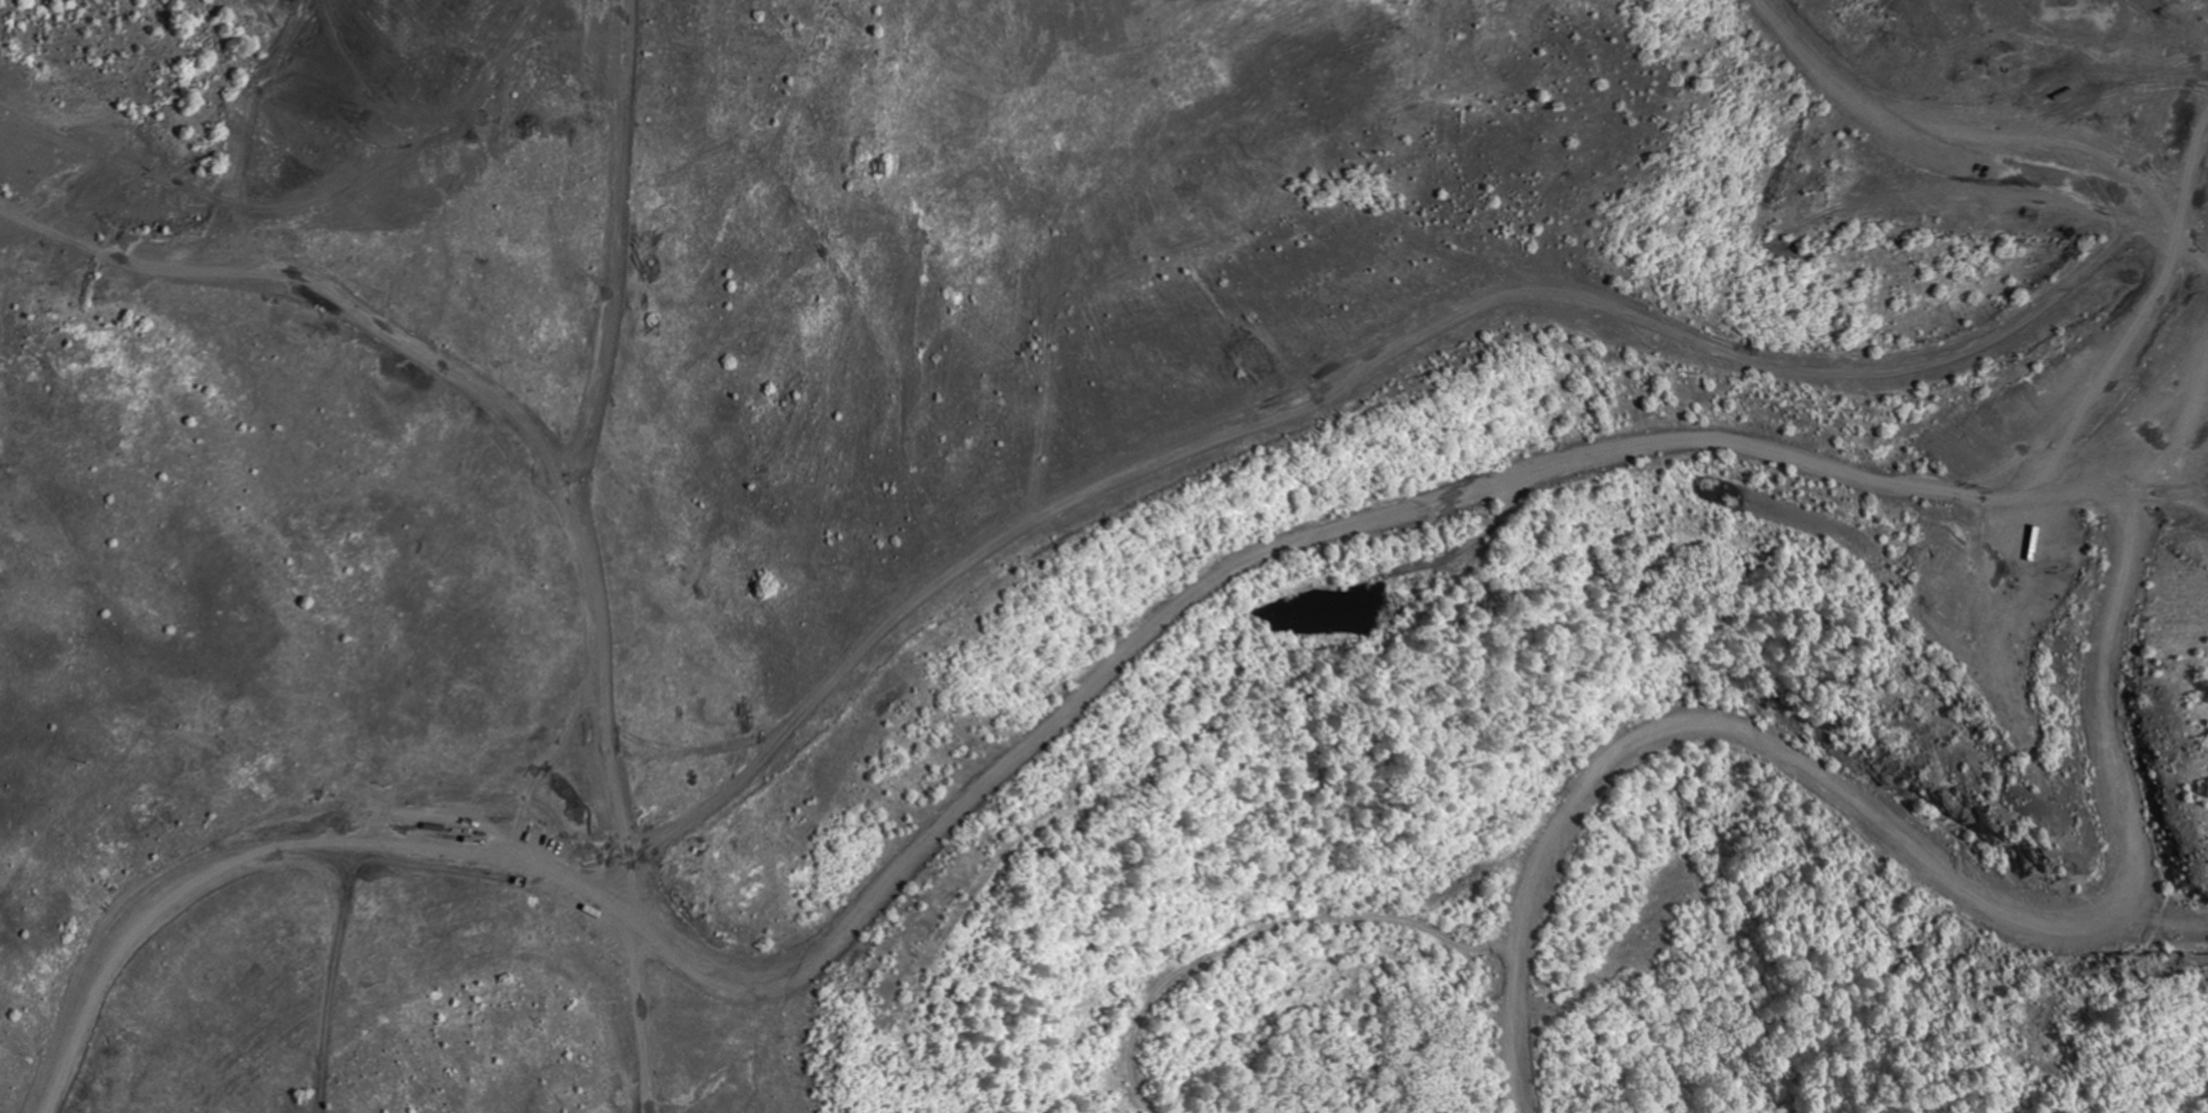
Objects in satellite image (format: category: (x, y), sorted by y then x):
building: (2198, 20)
building: (1951, 615)

